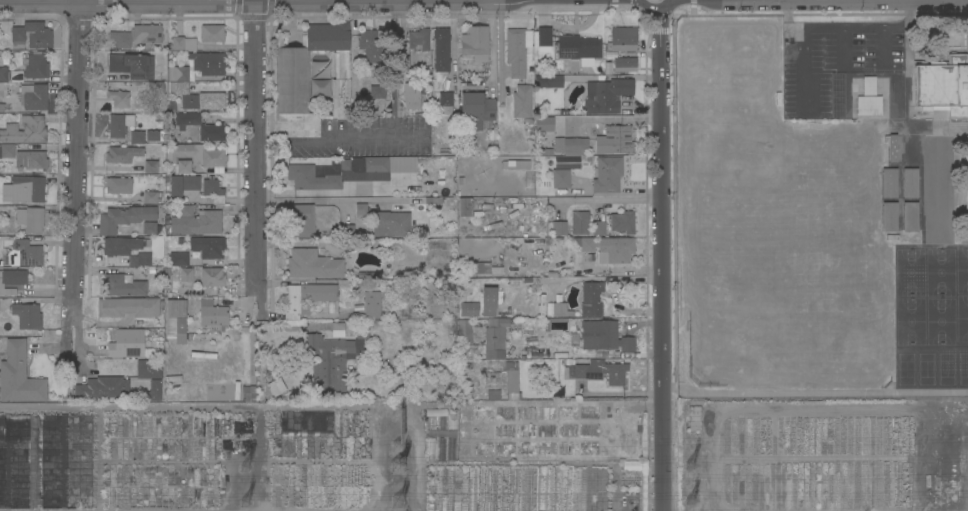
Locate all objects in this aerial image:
building: (147, 33)
building: (212, 34)
building: (31, 36)
building: (120, 39)
building: (418, 39)
building: (622, 39)
building: (177, 43)
building: (475, 43)
building: (190, 44)
building: (569, 44)
building: (372, 45)
road: (500, 47)
building: (441, 49)
building: (517, 51)
building: (628, 54)
building: (206, 64)
building: (625, 64)
building: (36, 65)
building: (292, 65)
building: (132, 66)
building: (3, 74)
building: (177, 74)
building: (10, 77)
building: (549, 81)
building: (868, 86)
building: (177, 88)
road: (473, 88)
building: (943, 88)
building: (155, 89)
building: (378, 92)
building: (606, 95)
building: (34, 96)
building: (416, 98)
building: (119, 99)
building: (203, 101)
building: (522, 101)
building: (12, 106)
building: (868, 106)
building: (2, 107)
building: (472, 110)
building: (545, 124)
building: (119, 125)
building: (201, 126)
building: (25, 129)
building: (155, 135)
building: (136, 137)
road: (393, 137)
building: (618, 139)
building: (570, 146)
road: (258, 147)
road: (78, 148)
building: (891, 148)
building: (6, 151)
building: (122, 154)
building: (938, 155)
building: (195, 158)
building: (30, 159)
building: (522, 164)
building: (362, 166)
building: (151, 167)
building: (607, 175)
building: (311, 179)
building: (966, 179)
building: (560, 183)
building: (889, 183)
building: (910, 183)
building: (183, 184)
building: (118, 185)
building: (25, 189)
building: (213, 190)
road: (608, 196)
building: (151, 197)
road: (329, 201)
building: (465, 204)
building: (186, 210)
building: (361, 210)
building: (938, 211)
building: (889, 217)
building: (910, 217)
building: (124, 218)
building: (30, 219)
building: (300, 221)
building: (622, 222)
building: (579, 223)
building: (197, 224)
building: (391, 224)
building: (151, 228)
building: (557, 228)
building: (599, 228)
building: (347, 231)
building: (180, 241)
building: (123, 245)
building: (208, 247)
building: (607, 249)
building: (25, 254)
building: (196, 254)
road: (660, 255)
building: (144, 259)
building: (178, 259)
building: (133, 261)
building: (438, 261)
building: (1, 263)
building: (313, 264)
building: (487, 268)
road: (623, 269)
building: (186, 275)
building: (212, 277)
building: (12, 281)
building: (515, 282)
building: (123, 285)
park: (931, 295)
building: (307, 297)
building: (591, 299)
building: (488, 301)
building: (372, 305)
building: (127, 307)
building: (329, 307)
building: (358, 308)
building: (469, 310)
building: (559, 310)
building: (357, 315)
building: (27, 316)
building: (212, 316)
building: (176, 319)
building: (338, 329)
building: (465, 332)
building: (362, 336)
building: (604, 337)
building: (419, 338)
building: (495, 338)
building: (515, 339)
building: (127, 344)
building: (1, 355)
building: (555, 355)
building: (615, 355)
building: (329, 361)
building: (568, 361)
park: (931, 368)
building: (149, 369)
building: (599, 372)
building: (18, 376)
building: (172, 379)
building: (512, 380)
building: (102, 388)
building: (151, 392)
building: (249, 393)
building: (493, 394)
building: (436, 412)
building: (694, 418)
building: (452, 420)
building: (432, 422)
building: (442, 422)
building: (441, 433)
power tower: (399, 435)
building: (431, 449)
building: (441, 449)
building: (451, 449)
building: (17, 463)
power tower: (252, 470)
power tower: (697, 470)
power tower: (397, 472)
power tower: (253, 499)
power tower: (394, 501)
power tower: (697, 501)

